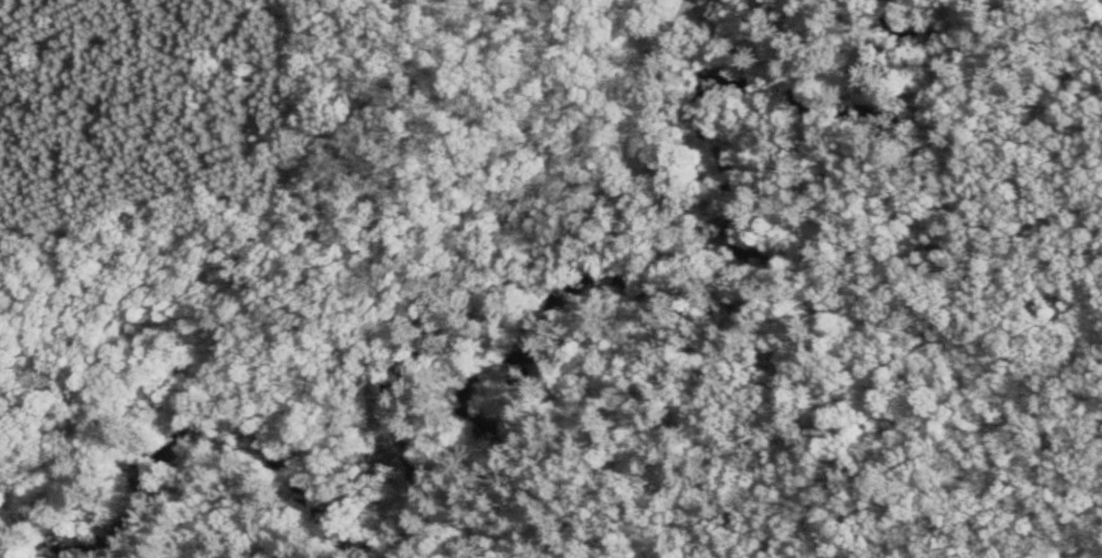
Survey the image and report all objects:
road: (621, 149)

